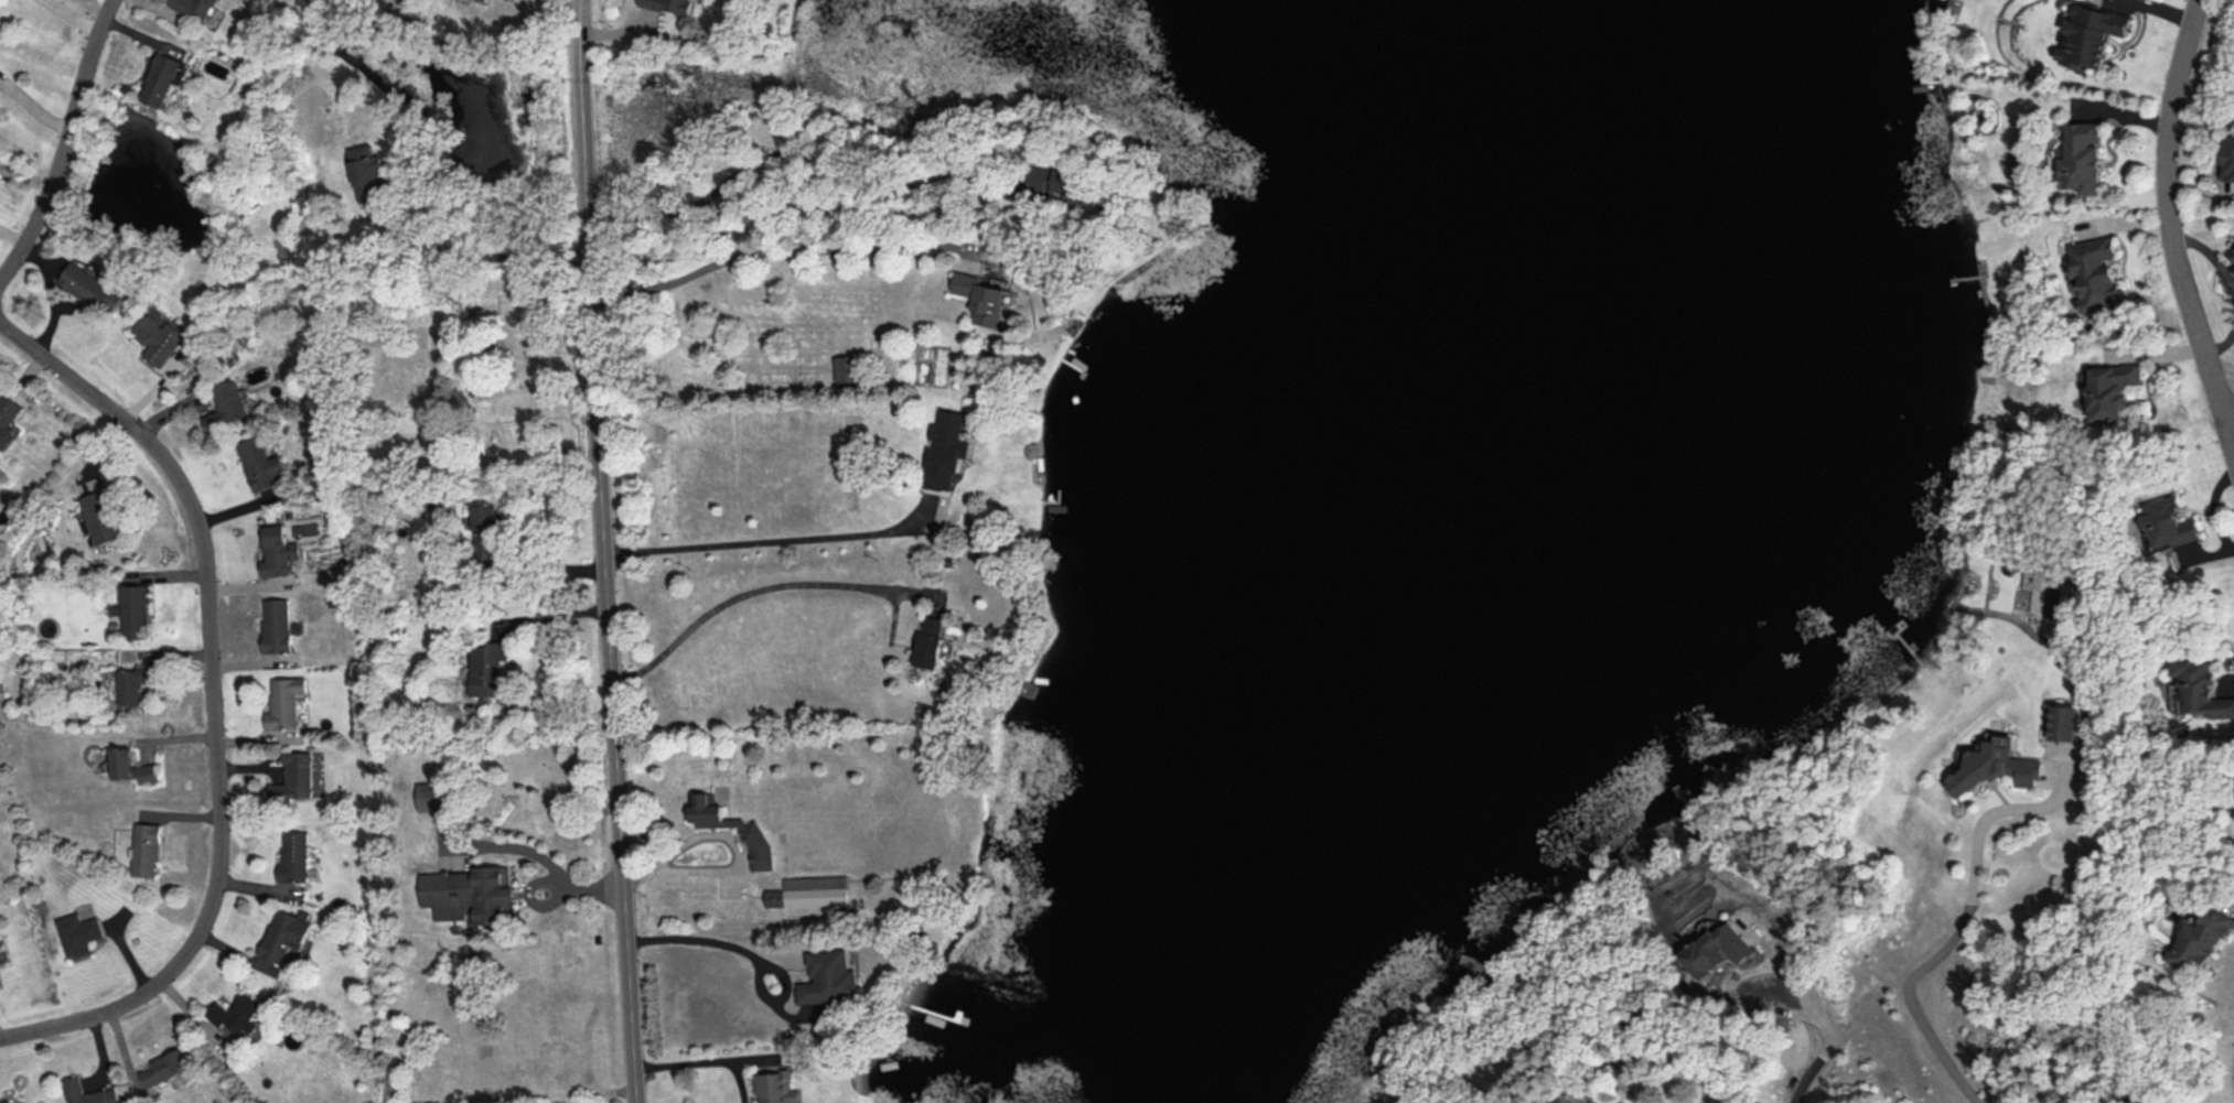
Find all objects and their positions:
building: (487, 0)
building: (672, 4)
building: (195, 8)
building: (2095, 34)
building: (162, 77)
road: (73, 151)
building: (2083, 156)
building: (2228, 156)
building: (369, 172)
road: (2169, 229)
road: (767, 248)
road: (2209, 249)
building: (2232, 255)
road: (479, 257)
building: (2094, 273)
building: (93, 286)
building: (986, 298)
building: (160, 337)
road: (2220, 338)
building: (850, 367)
park: (468, 377)
building: (2113, 388)
building: (228, 404)
building: (8, 418)
road: (2228, 419)
building: (948, 448)
building: (262, 462)
road: (2215, 507)
building: (100, 516)
building: (2169, 522)
building: (488, 531)
road: (777, 538)
building: (280, 550)
road: (606, 551)
road: (749, 591)
building: (136, 610)
building: (278, 624)
building: (934, 641)
building: (491, 667)
building: (135, 683)
building: (2202, 686)
building: (286, 701)
road: (221, 702)
building: (2066, 722)
building: (1997, 765)
building: (132, 766)
building: (296, 776)
building: (437, 794)
building: (753, 828)
building: (147, 848)
building: (296, 855)
road: (535, 861)
building: (813, 890)
building: (472, 893)
road: (1961, 927)
building: (78, 932)
building: (284, 934)
road: (701, 934)
building: (2204, 938)
building: (1721, 950)
building: (473, 974)
road: (1741, 976)
building: (833, 977)
building: (238, 1014)
road: (1821, 1060)
road: (701, 1063)
building: (167, 1066)
building: (780, 1088)
building: (92, 1092)
building: (1566, 1100)
building: (7, 1101)

